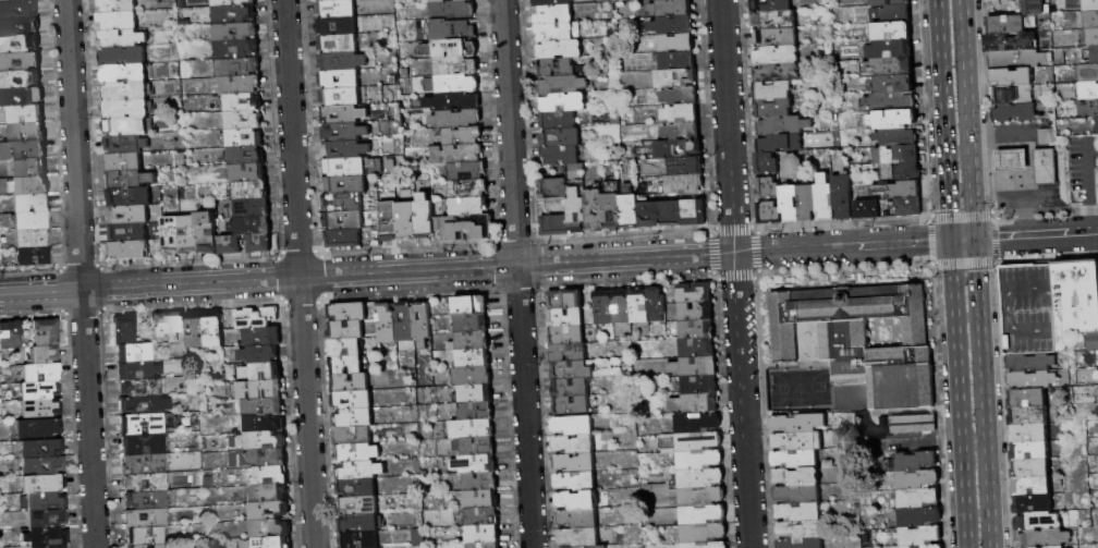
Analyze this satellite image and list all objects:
building: (10, 0)
building: (333, 0)
building: (651, 0)
building: (449, 1)
building: (552, 2)
building: (889, 2)
building: (231, 3)
building: (117, 5)
building: (771, 5)
building: (1090, 5)
building: (373, 7)
building: (1034, 8)
building: (19, 9)
building: (337, 9)
building: (672, 9)
building: (454, 10)
building: (896, 13)
building: (234, 14)
building: (553, 15)
building: (1091, 20)
building: (119, 21)
building: (774, 21)
building: (370, 23)
building: (1011, 24)
building: (338, 26)
building: (673, 26)
building: (19, 27)
building: (453, 29)
building: (235, 32)
building: (557, 32)
building: (892, 32)
building: (1093, 37)
building: (122, 38)
building: (776, 38)
building: (1011, 42)
building: (676, 44)
building: (19, 45)
building: (339, 45)
building: (236, 49)
building: (450, 49)
building: (560, 50)
building: (889, 50)
building: (1095, 54)
building: (123, 56)
building: (776, 56)
building: (1018, 59)
building: (678, 61)
building: (20, 62)
building: (343, 62)
building: (456, 66)
building: (890, 66)
building: (237, 68)
building: (557, 68)
building: (777, 73)
building: (1087, 73)
building: (125, 74)
building: (676, 78)
building: (1012, 78)
building: (20, 80)
building: (340, 80)
building: (456, 84)
building: (894, 84)
building: (241, 85)
building: (562, 85)
building: (125, 92)
building: (773, 92)
building: (1087, 92)
building: (681, 96)
building: (1012, 96)
building: (22, 97)
building: (341, 97)
building: (243, 102)
building: (453, 102)
building: (563, 102)
building: (890, 102)
building: (773, 108)
building: (1088, 108)
building: (125, 109)
building: (682, 113)
building: (1014, 113)
building: (27, 114)
building: (344, 114)
building: (457, 120)
building: (559, 120)
building: (893, 120)
road: (942, 120)
road: (966, 120)
building: (244, 121)
building: (126, 126)
road: (727, 126)
building: (783, 126)
building: (1097, 130)
building: (682, 131)
building: (28, 132)
building: (345, 132)
building: (462, 136)
road: (993, 136)
building: (896, 137)
building: (1044, 137)
building: (245, 138)
building: (561, 138)
building: (780, 144)
building: (126, 145)
building: (28, 149)
building: (679, 149)
building: (346, 150)
building: (456, 155)
building: (560, 155)
building: (896, 155)
building: (246, 156)
building: (1011, 160)
gas station: (1011, 160)
building: (124, 162)
building: (767, 165)
building: (686, 167)
building: (29, 168)
building: (344, 168)
building: (1041, 168)
parking lot: (1079, 170)
building: (467, 171)
building: (902, 172)
road: (1085, 172)
building: (248, 173)
building: (130, 180)
building: (685, 184)
building: (30, 185)
building: (345, 185)
building: (553, 188)
building: (768, 188)
building: (468, 190)
building: (252, 191)
building: (899, 191)
building: (130, 197)
building: (843, 197)
building: (826, 198)
building: (30, 203)
building: (343, 203)
building: (807, 203)
building: (790, 204)
building: (184, 206)
building: (469, 207)
building: (910, 207)
building: (253, 208)
building: (577, 210)
building: (595, 210)
building: (867, 210)
building: (631, 211)
building: (612, 212)
building: (695, 214)
building: (769, 214)
building: (129, 215)
building: (672, 215)
building: (650, 216)
building: (426, 218)
road: (1088, 220)
building: (33, 221)
building: (344, 221)
building: (390, 221)
building: (407, 221)
building: (252, 226)
building: (556, 226)
building: (467, 229)
building: (207, 232)
building: (129, 233)
building: (171, 235)
building: (190, 235)
road: (1035, 236)
building: (34, 238)
building: (344, 239)
road: (961, 241)
traffic signals: (973, 241)
traffic signals: (949, 242)
building: (260, 244)
building: (231, 245)
road: (841, 247)
building: (130, 251)
building: (34, 255)
building: (0, 258)
road: (81, 273)
road: (297, 273)
road: (516, 273)
road: (367, 275)
building: (695, 293)
building: (565, 300)
building: (471, 305)
building: (639, 305)
building: (657, 305)
building: (1049, 306)
building: (622, 307)
building: (603, 308)
building: (696, 312)
building: (349, 313)
building: (257, 318)
building: (566, 318)
building: (405, 322)
building: (387, 324)
building: (423, 324)
building: (472, 324)
building: (169, 325)
building: (124, 329)
building: (195, 330)
building: (213, 330)
building: (346, 330)
building: (697, 330)
building: (47, 331)
building: (11, 333)
building: (568, 336)
building: (263, 337)
building: (863, 339)
building: (472, 341)
building: (345, 348)
building: (697, 349)
building: (134, 352)
building: (569, 352)
building: (46, 354)
building: (259, 354)
building: (473, 358)
building: (0, 361)
building: (1030, 363)
building: (346, 365)
building: (695, 367)
building: (137, 369)
road: (829, 369)
building: (572, 370)
building: (41, 372)
building: (1097, 372)
building: (263, 373)
building: (472, 376)
building: (1097, 377)
building: (1032, 380)
building: (350, 383)
building: (700, 385)
building: (141, 387)
building: (571, 388)
park: (796, 388)
building: (258, 389)
building: (40, 390)
building: (474, 394)
road: (957, 394)
road: (980, 394)
building: (1097, 394)
building: (1027, 399)
building: (353, 400)
road: (741, 401)
building: (695, 403)
building: (145, 404)
building: (572, 405)
building: (260, 406)
building: (41, 407)
building: (476, 412)
building: (1097, 412)
building: (1028, 417)
building: (354, 418)
building: (696, 423)
building: (798, 423)
building: (910, 423)
building: (142, 424)
building: (265, 424)
building: (573, 426)
building: (38, 428)
building: (473, 429)
building: (1029, 434)
building: (354, 436)
building: (260, 441)
building: (699, 441)
building: (797, 441)
building: (143, 443)
building: (574, 445)
building: (474, 447)
building: (42, 448)
building: (1030, 451)
building: (358, 453)
building: (263, 459)
building: (795, 459)
building: (699, 460)
building: (916, 461)
building: (145, 464)
building: (474, 464)
building: (575, 464)
building: (42, 465)
building: (1030, 470)
building: (359, 471)
building: (268, 476)
building: (796, 477)
building: (699, 478)
building: (918, 479)
building: (145, 482)
building: (480, 482)
building: (576, 482)
building: (42, 483)
building: (1032, 487)
building: (358, 488)
building: (269, 492)
building: (797, 495)
building: (701, 497)
building: (918, 498)
building: (481, 499)
building: (146, 500)
building: (47, 501)
building: (577, 501)
building: (1033, 504)
building: (359, 506)
building: (269, 511)
building: (798, 512)
building: (703, 515)
building: (920, 515)
building: (481, 516)
building: (146, 517)
building: (48, 519)
building: (578, 519)
building: (1038, 522)
building: (359, 524)
building: (270, 529)
building: (800, 529)
building: (704, 533)
building: (483, 535)
building: (145, 536)
building: (920, 536)
building: (47, 537)
building: (578, 538)
building: (1044, 539)
building: (359, 540)
building: (272, 543)
building: (801, 543)
building: (706, 545)
building: (53, 546)
building: (137, 546)
building: (158, 546)
building: (485, 546)
building: (597, 547)
building: (926, 547)
building: (1058, 547)

